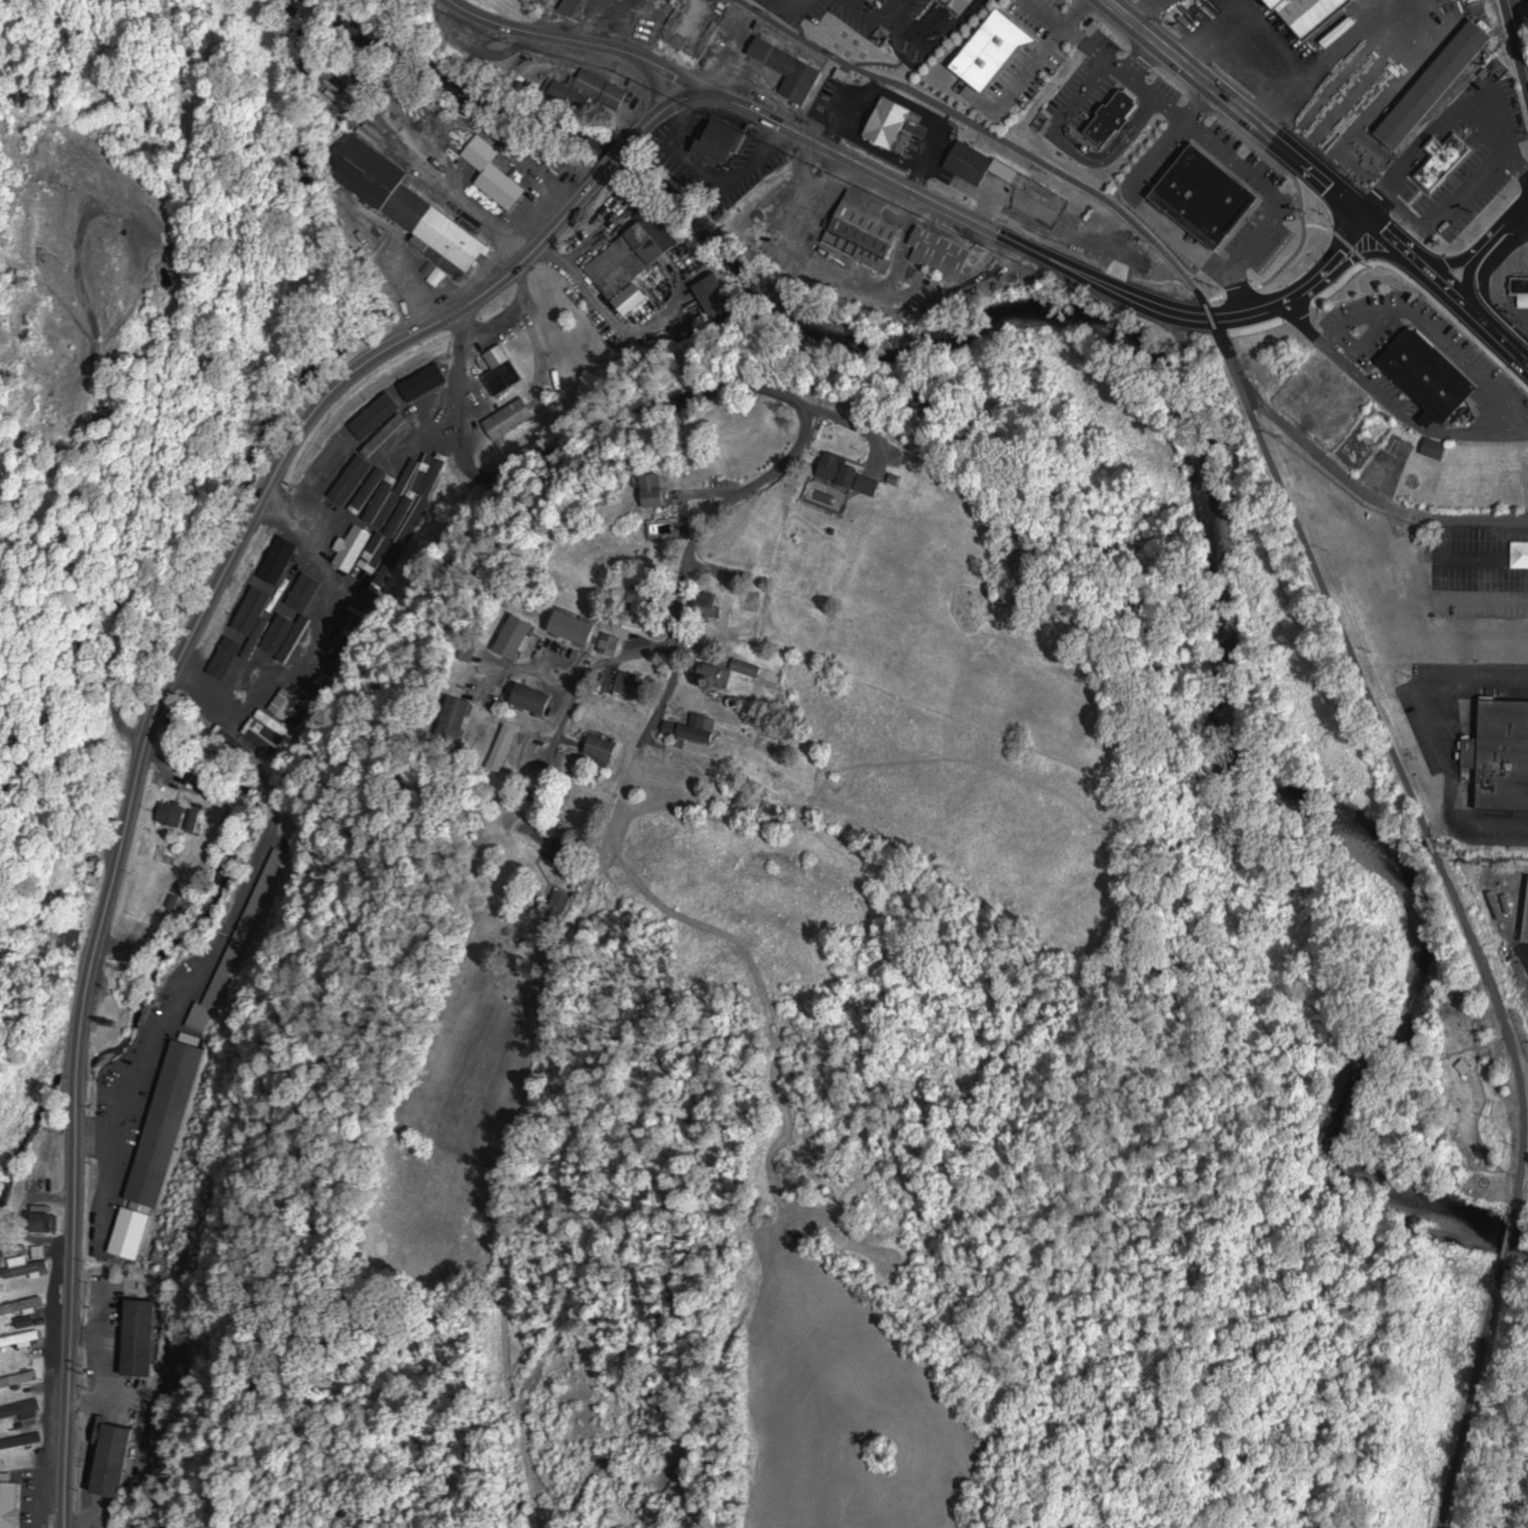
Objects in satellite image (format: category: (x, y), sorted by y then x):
building: (966, 0)
building: (576, 1)
road: (802, 5)
building: (1317, 9)
road: (1146, 11)
road: (880, 23)
building: (998, 35)
road: (1518, 35)
road: (597, 38)
parking lot: (1262, 50)
building: (793, 56)
building: (845, 73)
building: (1437, 80)
building: (595, 82)
road: (658, 88)
road: (683, 99)
road: (1231, 104)
building: (1114, 114)
building: (891, 118)
building: (725, 127)
road: (641, 133)
building: (973, 152)
road: (619, 159)
building: (1446, 159)
building: (496, 172)
building: (1124, 172)
building: (1212, 180)
building: (409, 201)
traffic signals: (1360, 209)
building: (1185, 215)
building: (869, 220)
road: (984, 221)
road: (1498, 231)
road: (1339, 233)
road: (551, 236)
building: (945, 241)
building: (635, 259)
road: (1450, 267)
building: (1248, 268)
road: (1447, 281)
road: (1467, 281)
building: (1521, 285)
road: (1284, 288)
building: (718, 294)
road: (1206, 305)
building: (1434, 363)
building: (504, 370)
road: (713, 398)
building: (512, 419)
building: (1437, 446)
road: (291, 451)
building: (852, 474)
river: (1206, 478)
building: (656, 488)
road: (1380, 507)
parking lot: (1481, 569)
building: (644, 598)
building: (710, 605)
building: (555, 614)
building: (612, 643)
building: (470, 650)
building: (728, 671)
building: (633, 681)
road: (164, 693)
building: (534, 697)
road: (569, 711)
building: (456, 717)
building: (701, 727)
parking lot: (1475, 741)
building: (604, 749)
building: (1501, 751)
building: (790, 786)
building: (751, 801)
building: (780, 809)
building: (182, 815)
road: (1432, 838)
building: (563, 851)
building: (90, 876)
building: (562, 902)
building: (1527, 936)
building: (73, 938)
building: (241, 944)
road: (1491, 974)
road: (1468, 1021)
road: (1509, 1074)
road: (1501, 1091)
park: (1453, 1099)
road: (1375, 1105)
road: (78, 1108)
road: (1478, 1118)
road: (1501, 1121)
building: (169, 1122)
road: (1523, 1177)
building: (47, 1220)
building: (134, 1231)
road: (1512, 1238)
building: (42, 1249)
building: (28, 1265)
building: (23, 1304)
building: (142, 1335)
building: (21, 1337)
building: (20, 1377)
road: (1470, 1399)
building: (21, 1407)
building: (20, 1438)
building: (115, 1457)
building: (10, 1502)
river: (1513, 1508)

